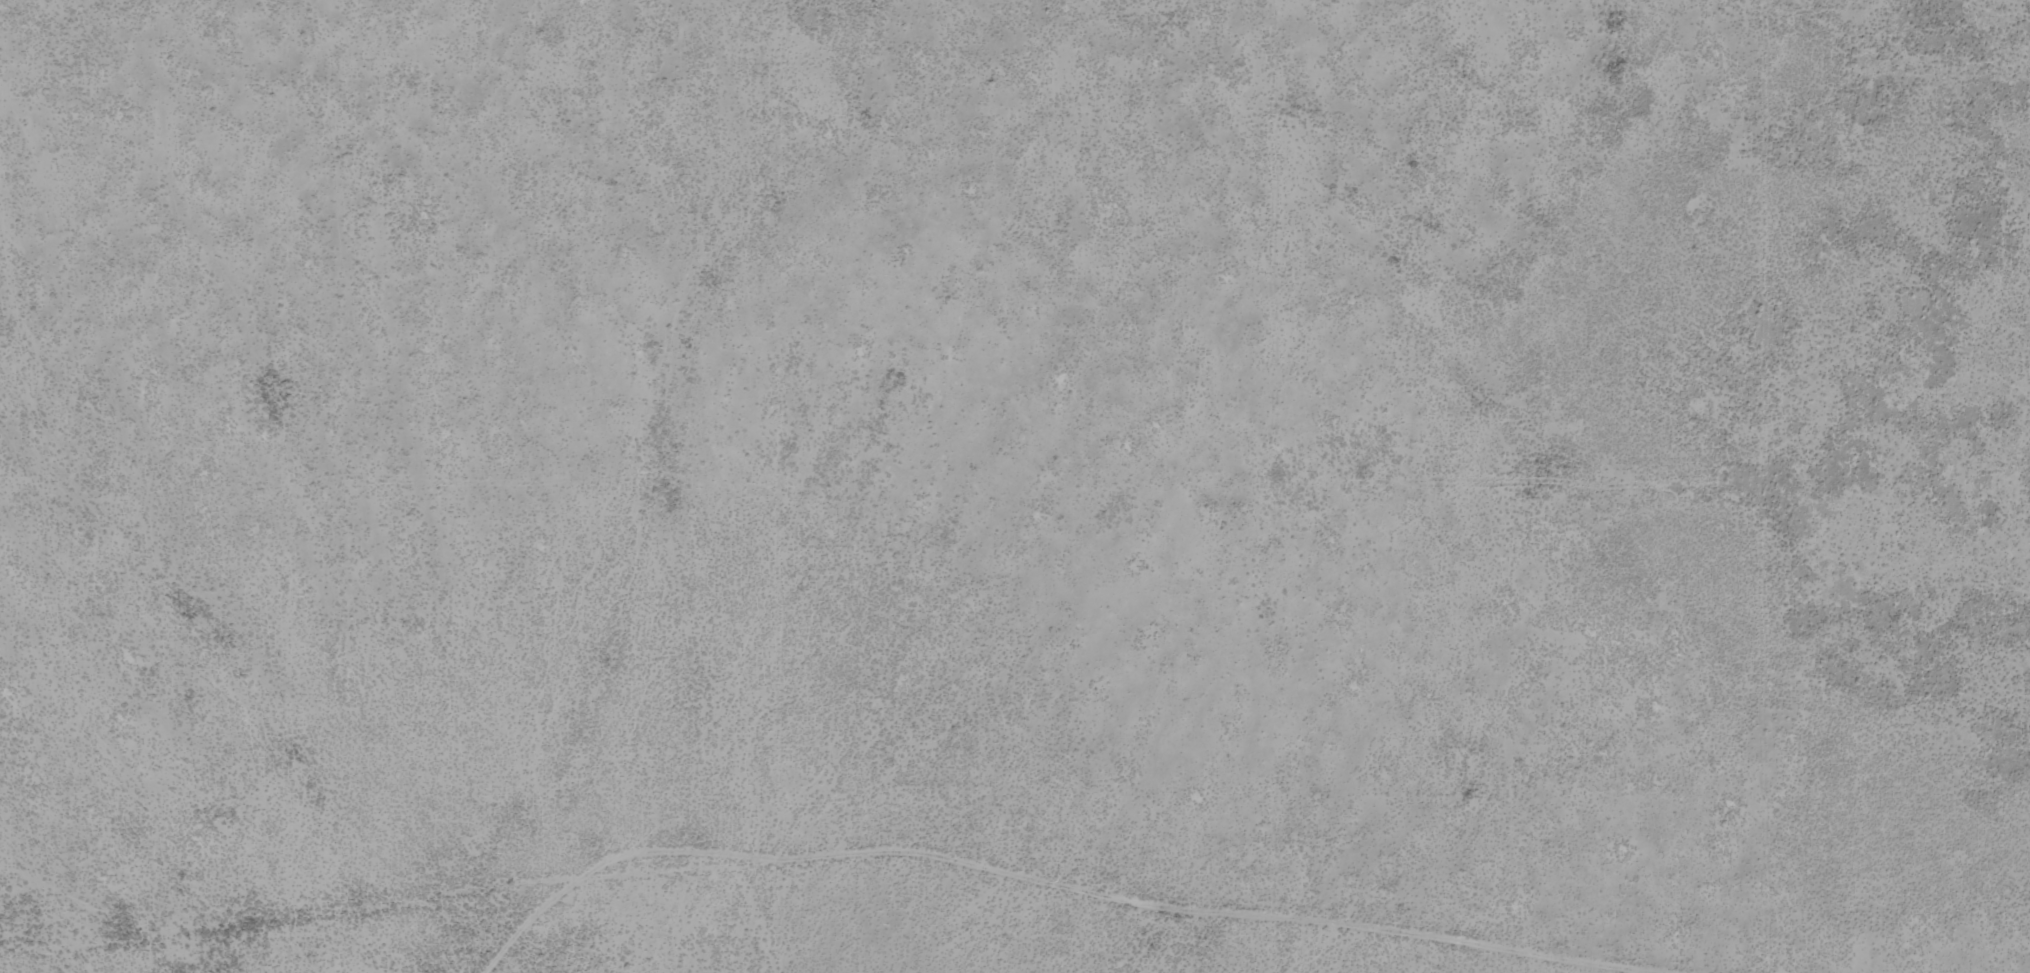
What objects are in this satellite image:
road: (944, 817)
road: (500, 916)

